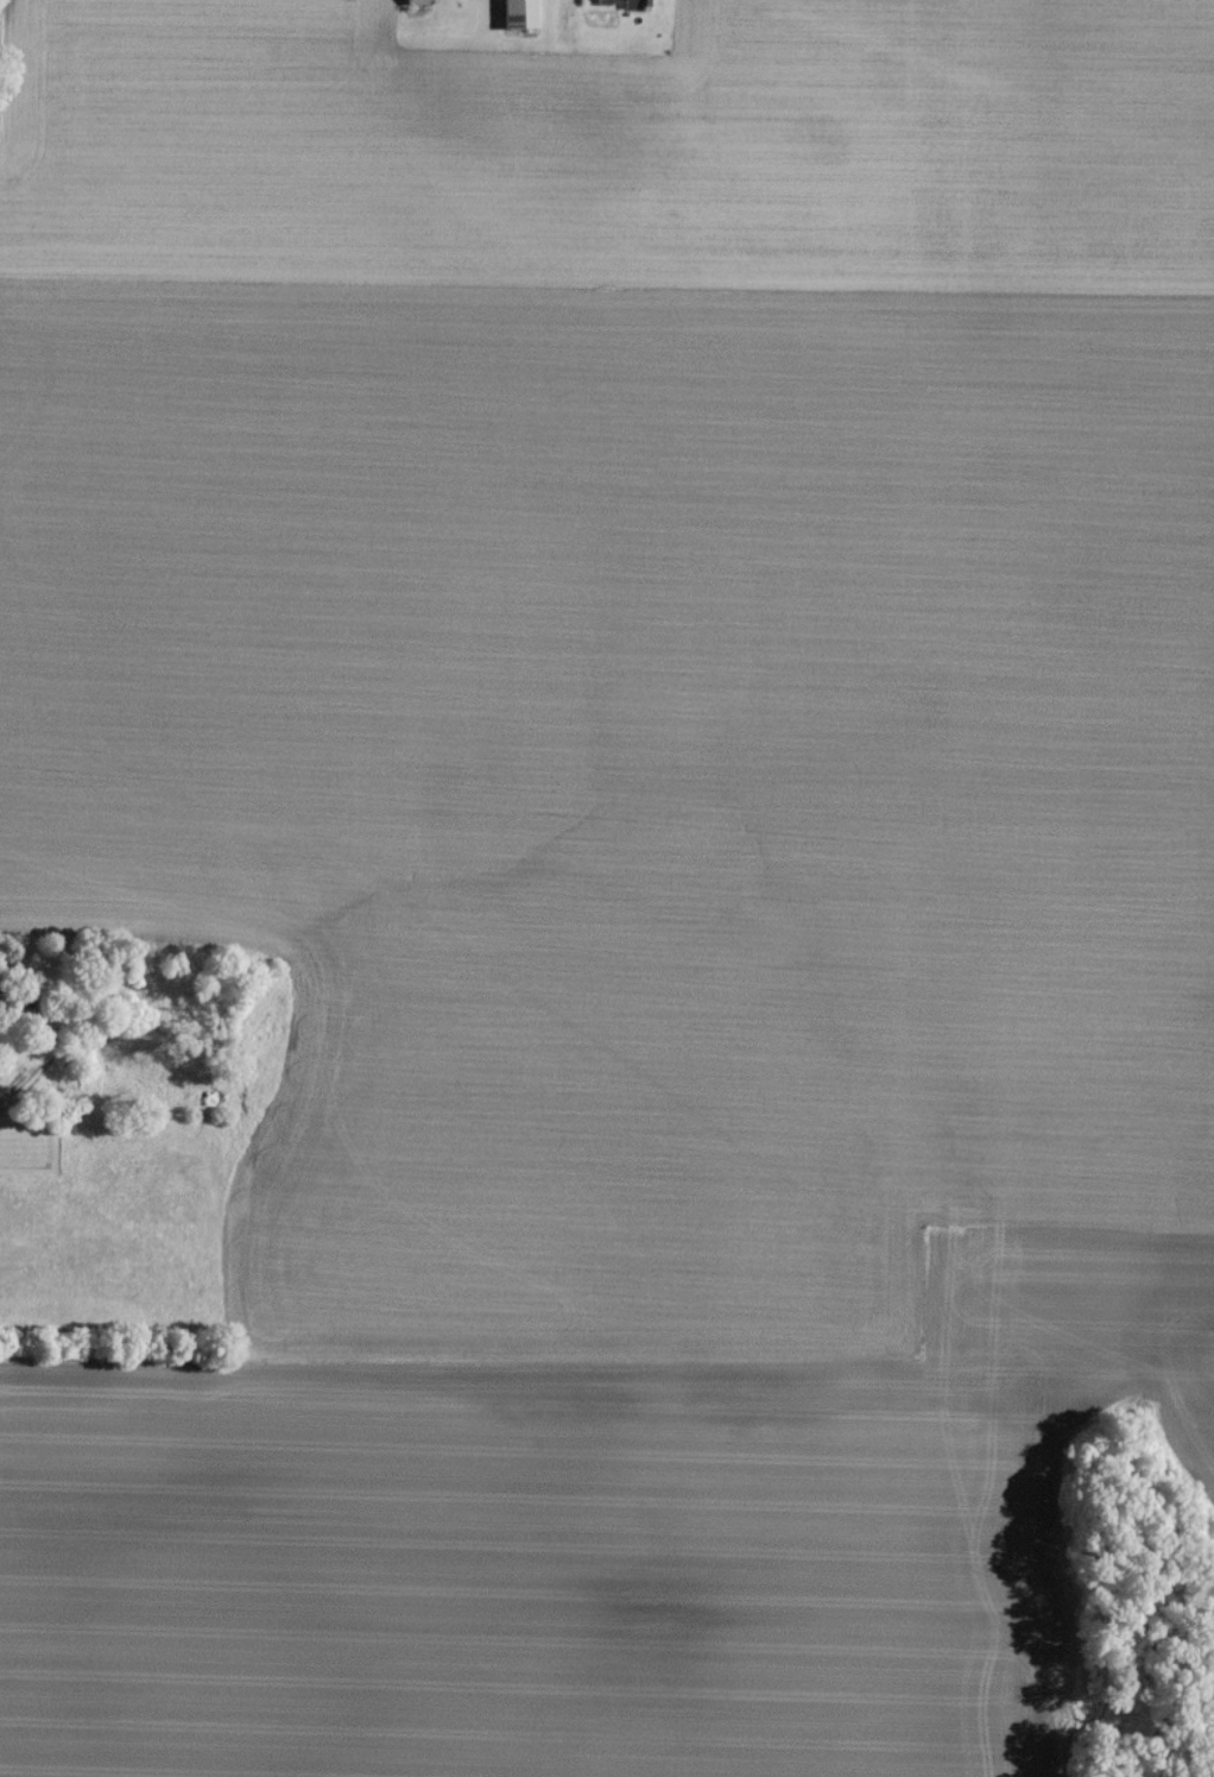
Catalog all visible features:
building: (417, 1)
building: (638, 4)
building: (521, 13)

